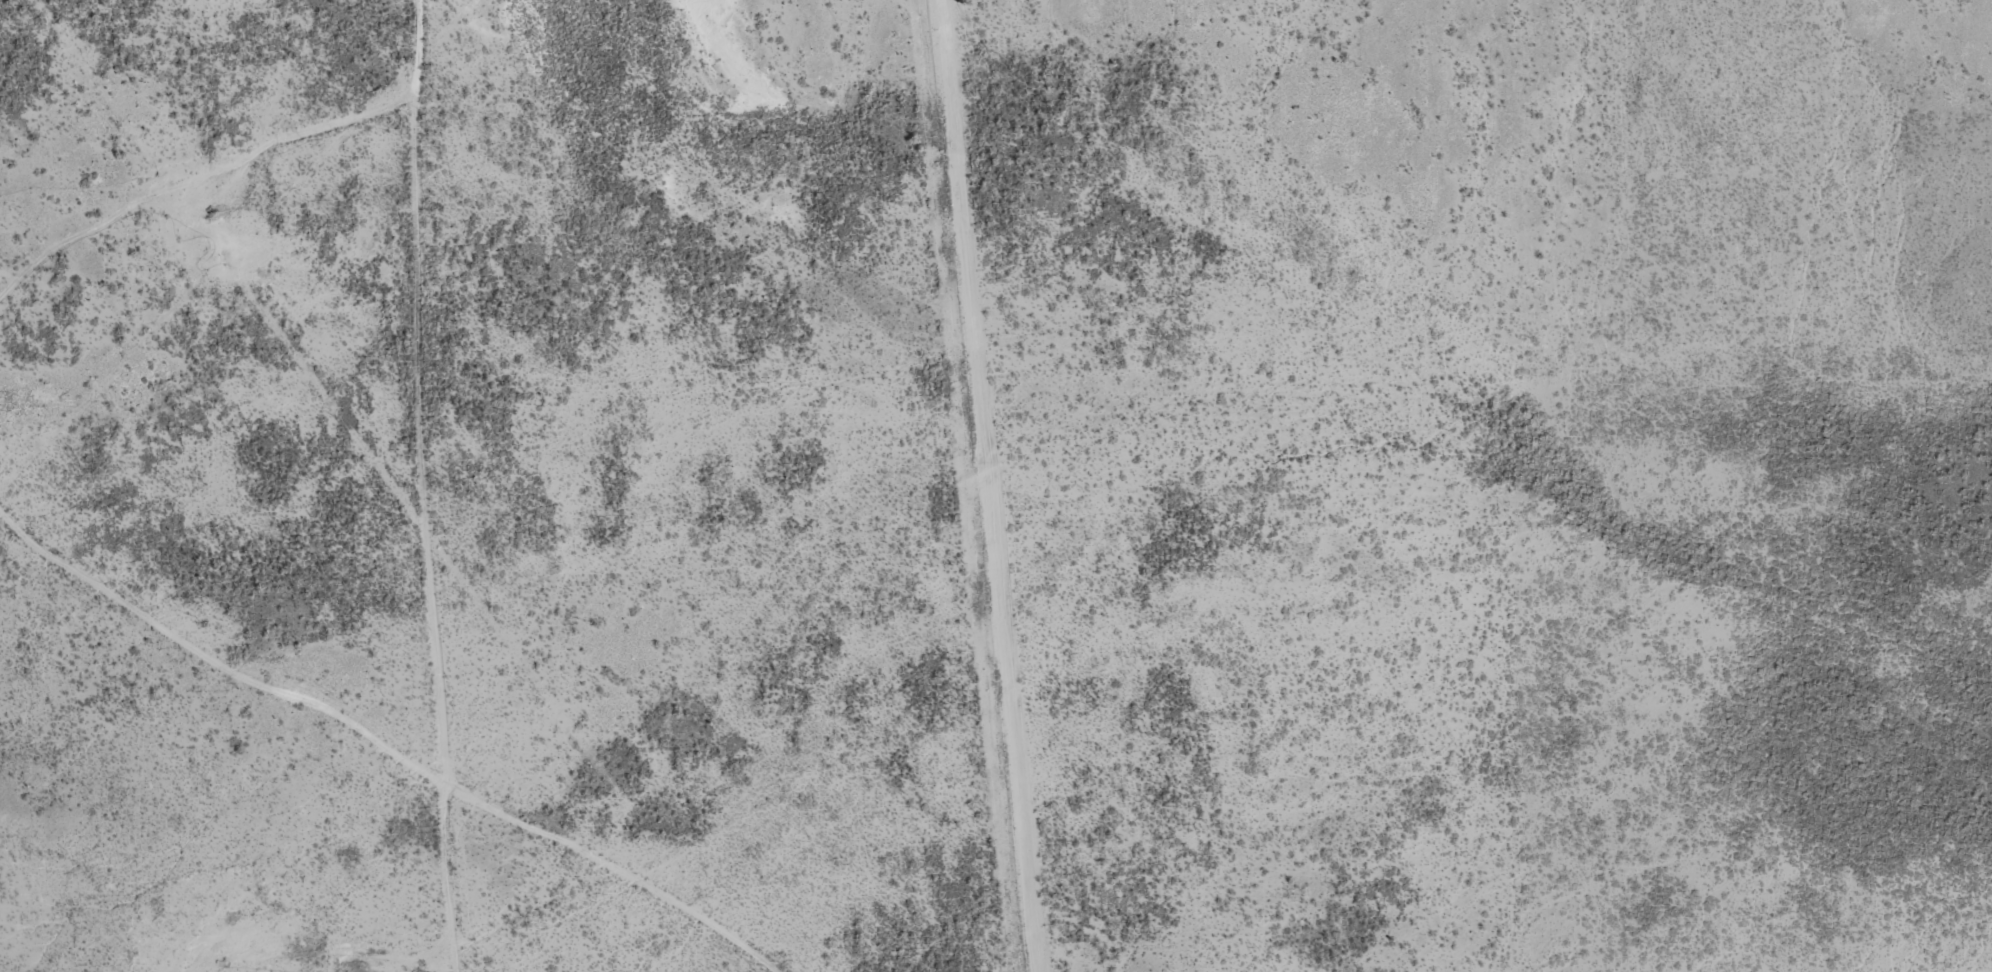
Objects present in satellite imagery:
road: (442, 486)
road: (340, 736)

